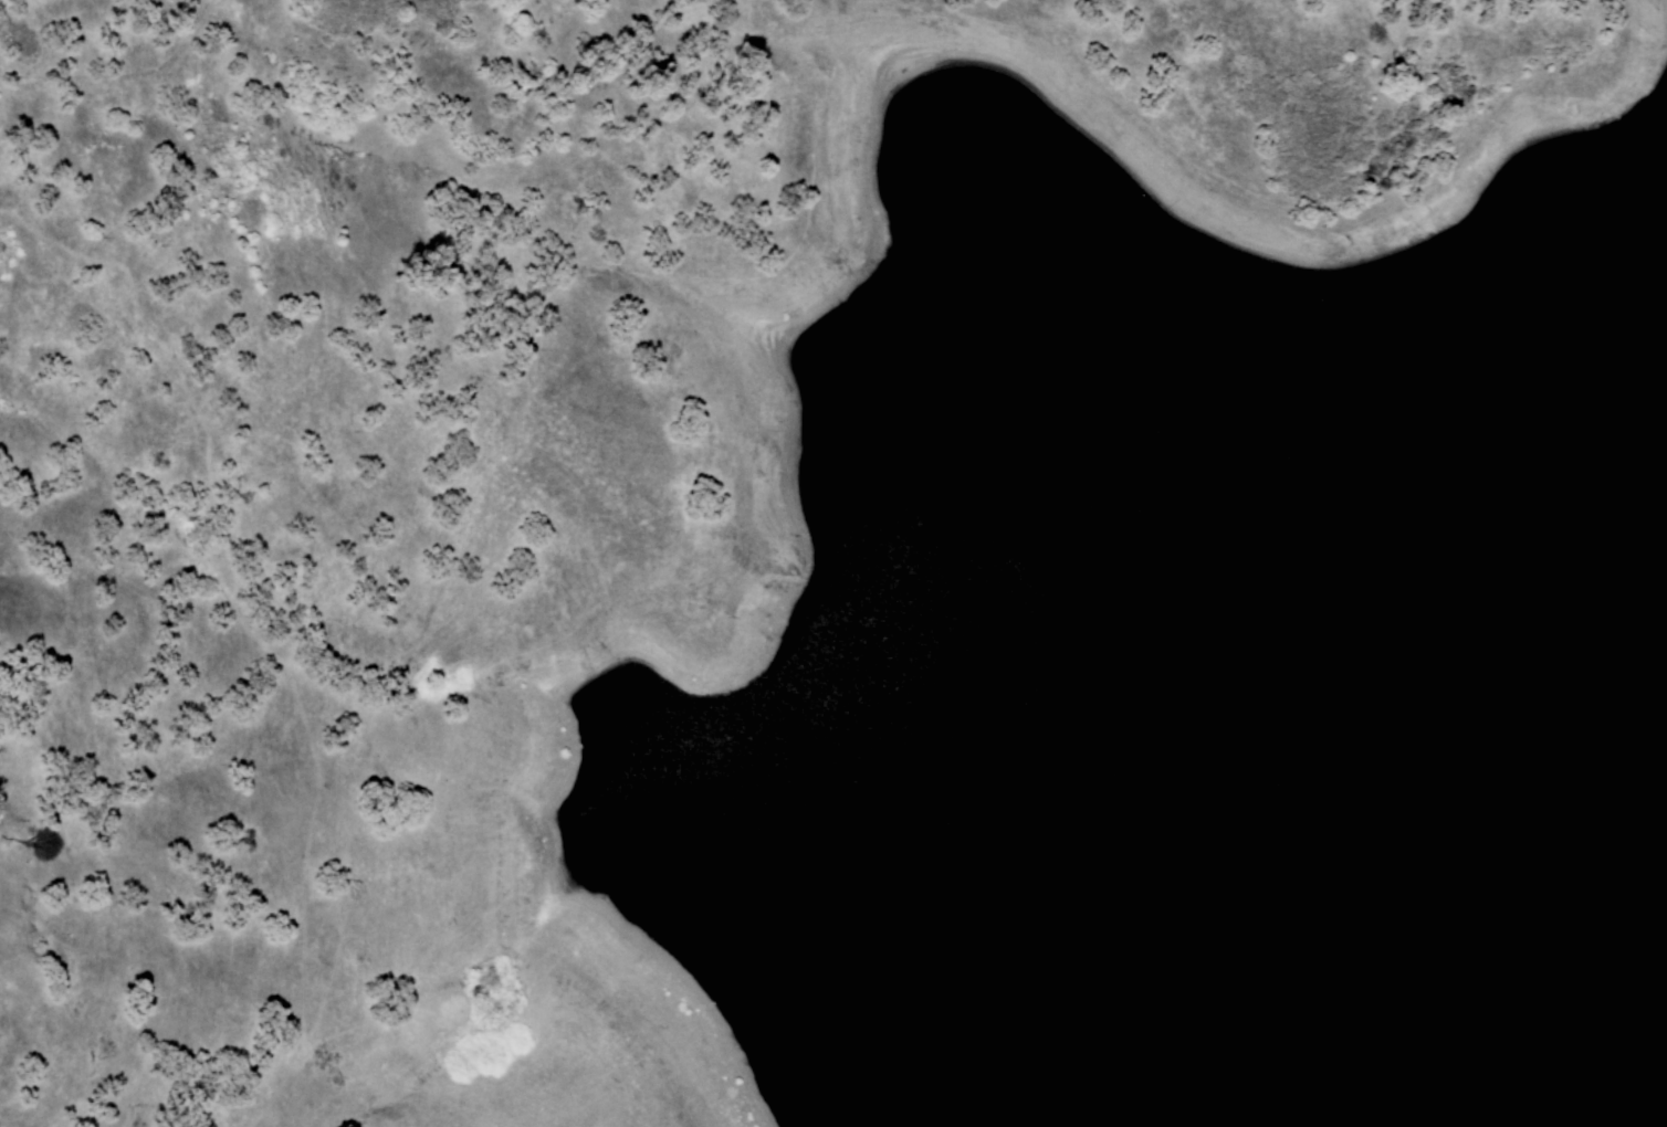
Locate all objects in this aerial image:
river: (1524, 351)
river: (1204, 731)
river: (1070, 1083)

